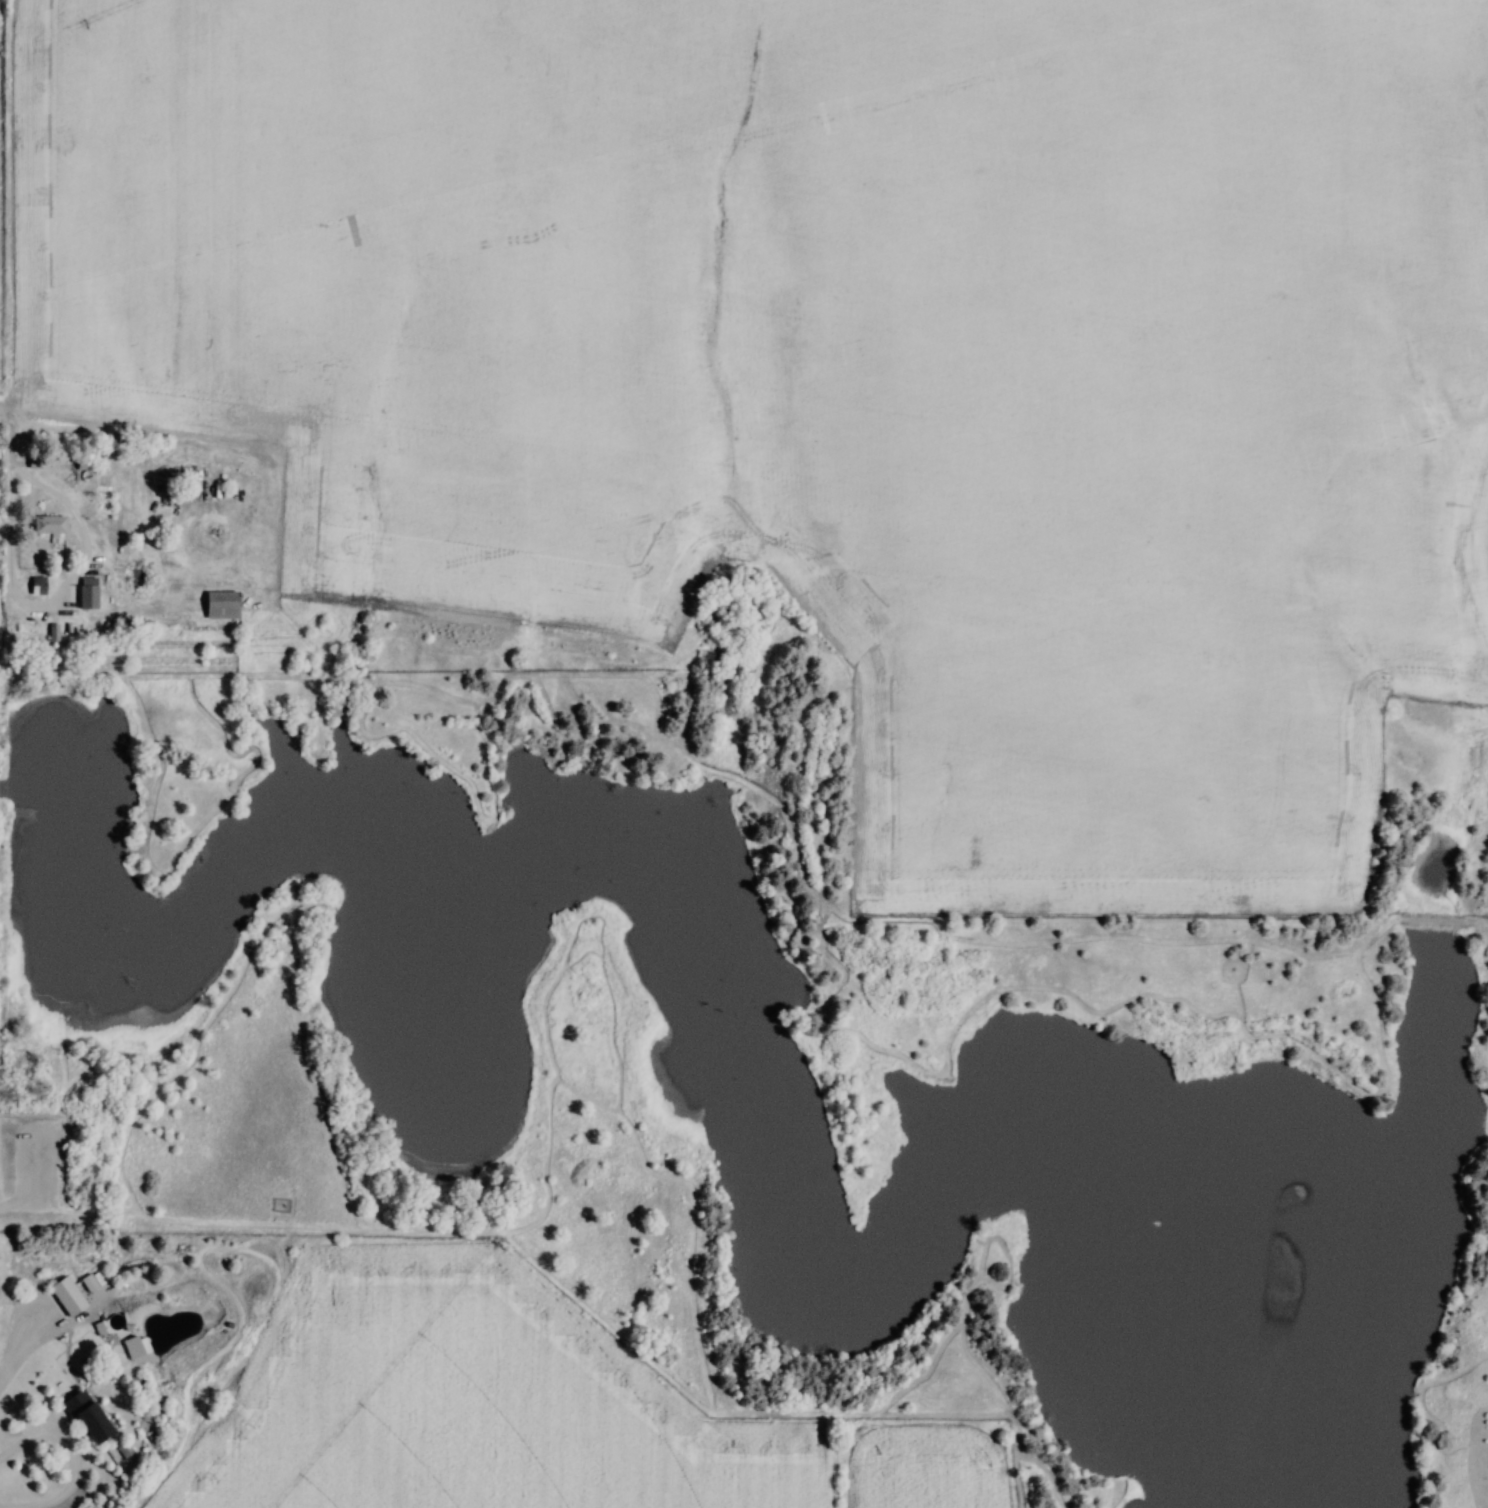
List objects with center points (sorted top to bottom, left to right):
road: (5, 439)
building: (47, 527)
building: (81, 590)
building: (31, 591)
building: (229, 593)
building: (219, 606)
road: (15, 609)
road: (1128, 991)
building: (116, 1346)
crop: (466, 1405)
building: (85, 1416)
road: (61, 1452)

